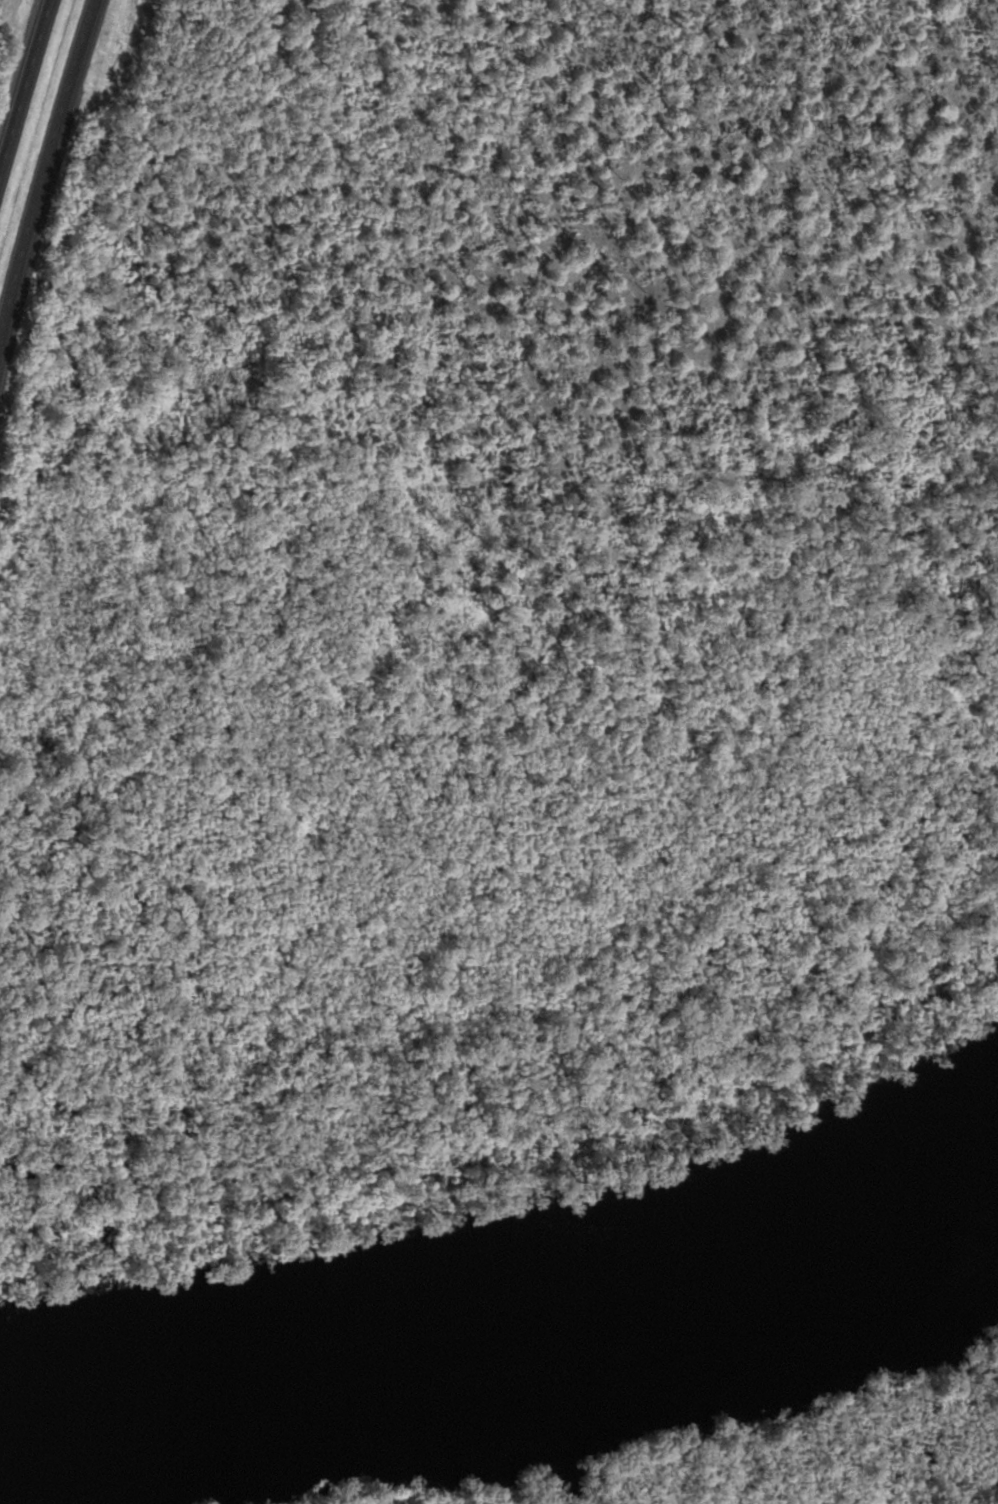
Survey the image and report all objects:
road: (22, 81)
road: (44, 167)
river: (568, 1327)
river: (57, 1417)

